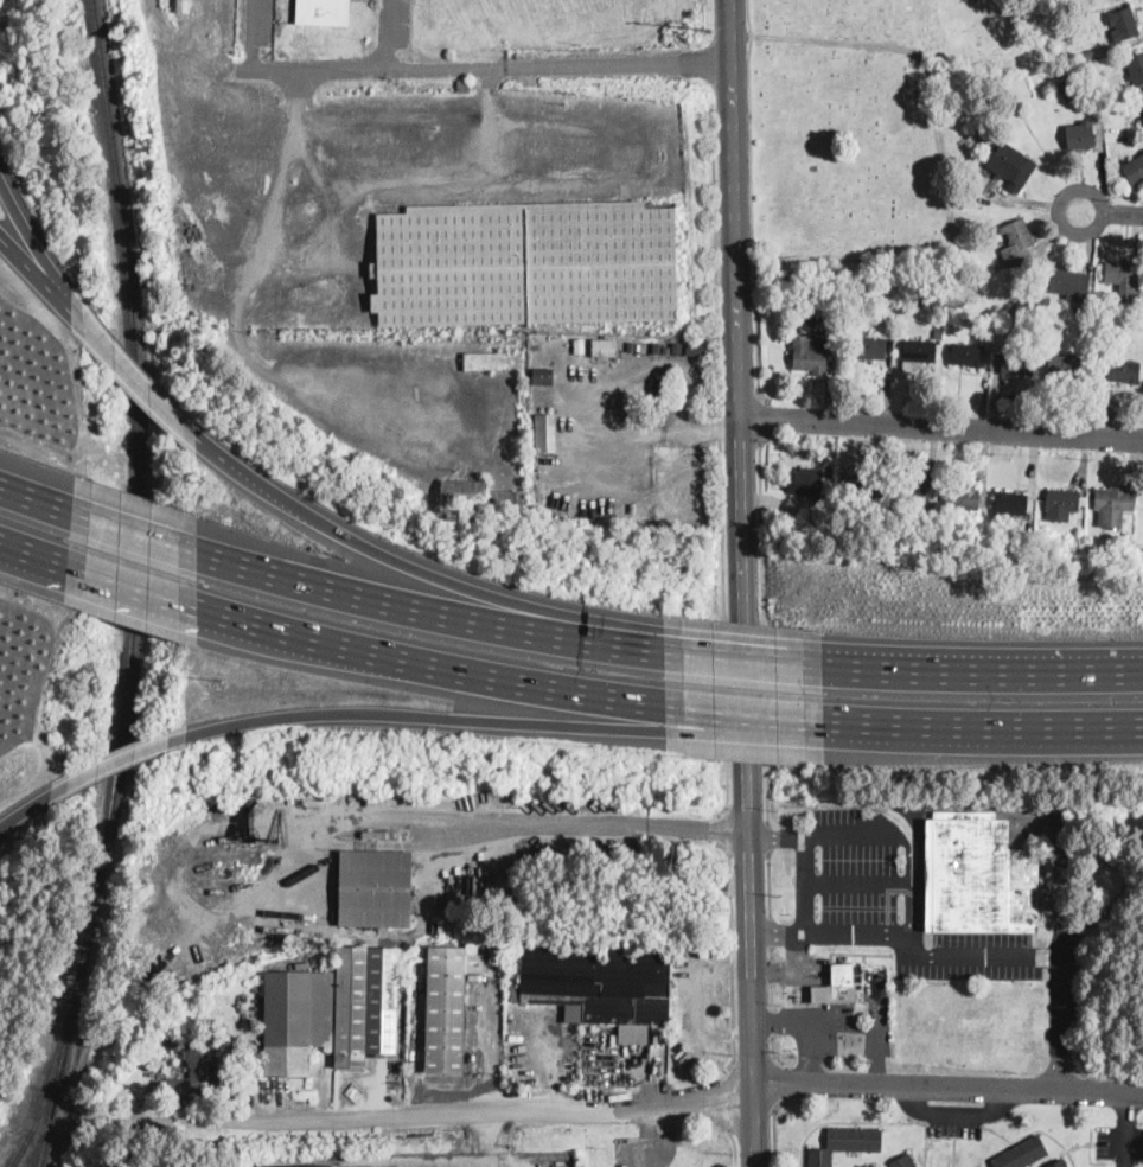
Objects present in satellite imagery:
building: (180, 6)
building: (324, 12)
building: (1119, 24)
power tower: (713, 32)
road: (254, 36)
road: (388, 36)
building: (1088, 52)
road: (490, 69)
building: (1136, 69)
building: (465, 85)
building: (1069, 88)
building: (1142, 101)
road: (730, 117)
park: (864, 135)
building: (1080, 135)
building: (983, 138)
building: (1013, 166)
building: (1134, 168)
road: (751, 202)
road: (1059, 205)
road: (1123, 213)
building: (1017, 242)
road: (40, 253)
building: (526, 264)
building: (1123, 279)
building: (1071, 282)
road: (41, 283)
building: (1048, 299)
building: (881, 301)
building: (922, 301)
building: (1037, 302)
building: (802, 308)
building: (805, 324)
building: (1053, 324)
building: (1019, 326)
building: (939, 333)
building: (580, 346)
building: (631, 346)
building: (605, 347)
building: (998, 347)
building: (658, 349)
building: (678, 349)
building: (698, 349)
building: (666, 350)
building: (870, 350)
building: (918, 353)
building: (811, 355)
building: (968, 356)
building: (487, 359)
building: (1019, 364)
building: (1065, 366)
building: (1124, 371)
building: (543, 376)
road: (139, 383)
building: (657, 389)
road: (764, 416)
road: (741, 417)
road: (943, 428)
road: (666, 429)
building: (547, 432)
road: (722, 468)
building: (812, 485)
building: (864, 485)
building: (912, 497)
building: (478, 498)
building: (963, 498)
road: (34, 499)
building: (854, 499)
building: (1010, 503)
building: (1064, 503)
building: (1113, 505)
building: (1083, 521)
road: (135, 534)
building: (1128, 535)
road: (33, 553)
road: (403, 557)
railway: (135, 586)
road: (133, 587)
road: (413, 606)
road: (764, 623)
road: (646, 651)
road: (743, 659)
road: (433, 665)
road: (981, 672)
street lamp: (831, 694)
street lamp: (1015, 702)
road: (426, 715)
road: (748, 727)
road: (985, 734)
road: (128, 757)
road: (34, 802)
road: (1037, 820)
road: (544, 824)
road: (723, 833)
road: (874, 834)
road: (767, 835)
road: (775, 835)
building: (978, 876)
road: (913, 878)
road: (860, 880)
road: (768, 881)
road: (747, 882)
road: (806, 882)
building: (375, 888)
road: (768, 927)
road: (778, 931)
road: (797, 949)
road: (751, 950)
road: (770, 951)
road: (926, 955)
road: (733, 958)
road: (770, 970)
road: (773, 971)
road: (803, 971)
building: (599, 981)
building: (837, 987)
road: (770, 994)
road: (787, 994)
road: (697, 996)
road: (1058, 1003)
building: (448, 1005)
building: (331, 1012)
building: (860, 1014)
road: (770, 1019)
road: (813, 1019)
road: (753, 1027)
road: (771, 1050)
road: (490, 1053)
building: (193, 1070)
road: (777, 1082)
railway: (49, 1085)
road: (949, 1085)
road: (728, 1099)
road: (448, 1115)
road: (956, 1115)
road: (755, 1124)
road: (1126, 1129)
road: (773, 1130)
road: (646, 1134)
road: (498, 1139)
road: (734, 1139)
building: (847, 1143)
parking lot: (644, 1149)
building: (1022, 1154)
building: (903, 1161)
building: (1060, 1163)
building: (320, 1166)

